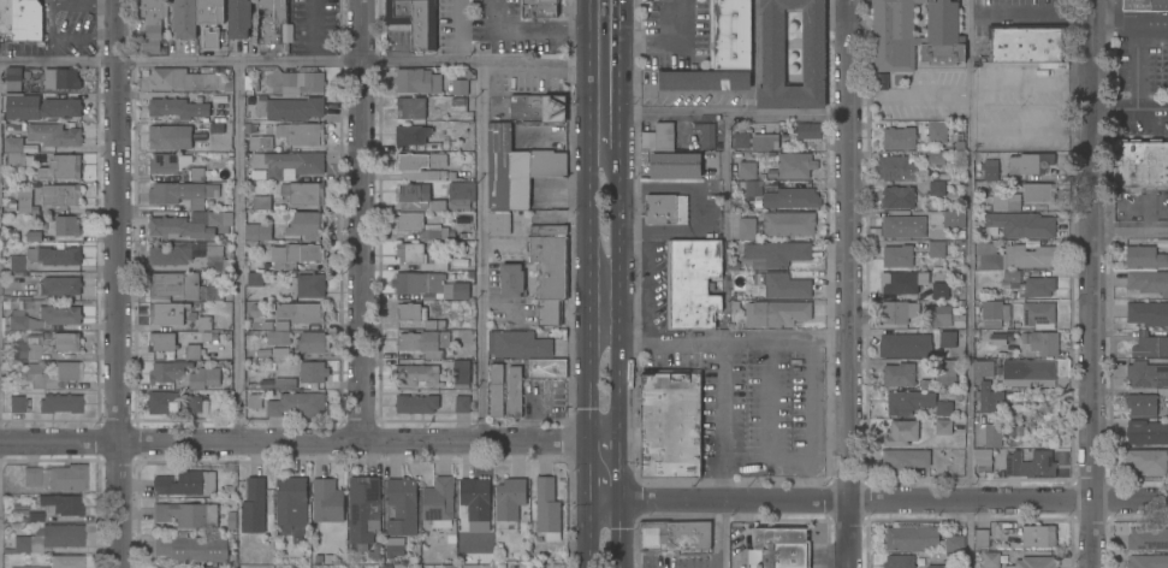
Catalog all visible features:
building: (1145, 5)
building: (539, 10)
building: (211, 12)
building: (6, 16)
road: (1027, 16)
building: (184, 18)
building: (239, 18)
building: (415, 19)
building: (26, 20)
road: (1127, 22)
building: (271, 24)
road: (1167, 24)
building: (154, 25)
building: (48, 26)
road: (530, 28)
building: (730, 34)
building: (894, 36)
building: (1025, 42)
road: (659, 45)
building: (813, 47)
road: (301, 65)
road: (1136, 65)
road: (601, 72)
building: (14, 77)
building: (61, 78)
building: (190, 79)
building: (416, 79)
building: (705, 79)
building: (883, 81)
building: (302, 82)
building: (458, 85)
building: (458, 103)
building: (498, 103)
building: (411, 106)
building: (538, 106)
building: (41, 107)
building: (178, 107)
building: (290, 107)
road: (1128, 107)
road: (723, 113)
building: (808, 130)
building: (301, 132)
building: (53, 134)
building: (411, 134)
building: (705, 134)
building: (912, 134)
building: (170, 136)
building: (664, 136)
building: (741, 140)
building: (765, 141)
building: (260, 142)
building: (198, 146)
building: (16, 152)
building: (936, 156)
building: (168, 162)
building: (289, 162)
building: (1030, 162)
building: (1139, 162)
building: (675, 165)
building: (794, 165)
building: (422, 166)
building: (61, 167)
building: (516, 167)
building: (895, 167)
building: (746, 170)
building: (990, 172)
building: (197, 173)
building: (753, 187)
building: (770, 187)
building: (936, 188)
building: (303, 191)
building: (1038, 191)
building: (179, 193)
building: (61, 194)
building: (461, 194)
building: (419, 196)
building: (899, 196)
building: (798, 199)
building: (24, 200)
building: (770, 200)
building: (261, 202)
road: (587, 202)
building: (755, 202)
building: (1003, 202)
road: (1134, 202)
road: (1151, 202)
road: (617, 203)
building: (665, 208)
road: (695, 209)
building: (954, 218)
road: (362, 219)
building: (498, 223)
building: (788, 223)
road: (1148, 223)
building: (190, 224)
building: (1020, 224)
building: (66, 225)
building: (420, 225)
building: (903, 226)
building: (289, 227)
building: (747, 227)
road: (1131, 230)
building: (936, 248)
road: (846, 249)
road: (480, 252)
road: (238, 253)
building: (775, 253)
building: (186, 254)
building: (1030, 254)
building: (54, 255)
building: (295, 255)
building: (897, 255)
building: (988, 255)
building: (419, 256)
building: (1144, 256)
building: (550, 259)
building: (14, 262)
building: (1010, 276)
building: (255, 278)
building: (511, 279)
building: (1148, 280)
building: (692, 282)
building: (902, 282)
road: (1093, 283)
road: (118, 284)
road: (968, 284)
building: (310, 285)
building: (429, 285)
building: (785, 285)
building: (1038, 285)
building: (51, 286)
building: (939, 290)
building: (177, 294)
road: (600, 301)
building: (990, 308)
building: (410, 310)
building: (896, 310)
building: (301, 312)
building: (549, 312)
building: (1006, 312)
building: (1148, 312)
building: (776, 313)
building: (60, 314)
building: (1038, 314)
building: (936, 315)
building: (20, 321)
building: (204, 323)
building: (434, 325)
building: (279, 333)
building: (947, 338)
building: (997, 338)
road: (723, 339)
road: (725, 341)
building: (66, 342)
building: (313, 342)
building: (425, 342)
building: (1042, 342)
building: (518, 343)
road: (594, 344)
building: (905, 344)
building: (1150, 344)
building: (174, 345)
road: (607, 345)
building: (26, 347)
building: (262, 353)
building: (280, 354)
building: (546, 367)
building: (1027, 369)
building: (167, 371)
building: (947, 371)
building: (312, 373)
building: (461, 373)
building: (416, 374)
building: (899, 374)
building: (1146, 374)
building: (204, 377)
building: (51, 378)
road: (616, 378)
road: (587, 379)
building: (285, 383)
building: (265, 384)
building: (985, 385)
building: (496, 390)
building: (515, 391)
building: (255, 401)
building: (908, 401)
building: (162, 402)
building: (16, 403)
building: (59, 403)
building: (192, 403)
building: (416, 403)
building: (463, 403)
building: (1142, 403)
building: (297, 404)
building: (943, 408)
road: (767, 421)
road: (811, 421)
road: (610, 422)
road: (595, 424)
building: (670, 425)
building: (943, 427)
building: (1146, 431)
building: (901, 433)
building: (992, 434)
road: (301, 439)
road: (604, 445)
building: (983, 458)
building: (906, 460)
building: (1148, 460)
road: (604, 462)
building: (1031, 465)
building: (31, 477)
building: (66, 478)
building: (179, 483)
road: (604, 486)
building: (475, 497)
building: (510, 498)
building: (291, 499)
building: (326, 499)
road: (725, 499)
road: (1008, 499)
building: (60, 504)
building: (440, 504)
building: (254, 505)
building: (402, 505)
building: (546, 508)
building: (364, 513)
building: (186, 514)
road: (589, 532)
road: (619, 532)
road: (848, 533)
building: (674, 534)
building: (59, 536)
building: (1038, 536)
building: (920, 537)
building: (982, 537)
building: (1148, 538)
building: (20, 544)
building: (191, 548)
building: (779, 548)
building: (393, 550)
building: (986, 558)
building: (65, 561)
building: (1148, 561)
building: (899, 562)
building: (1033, 562)
building: (937, 566)
building: (26, 567)
building: (28, 567)
building: (209, 567)

